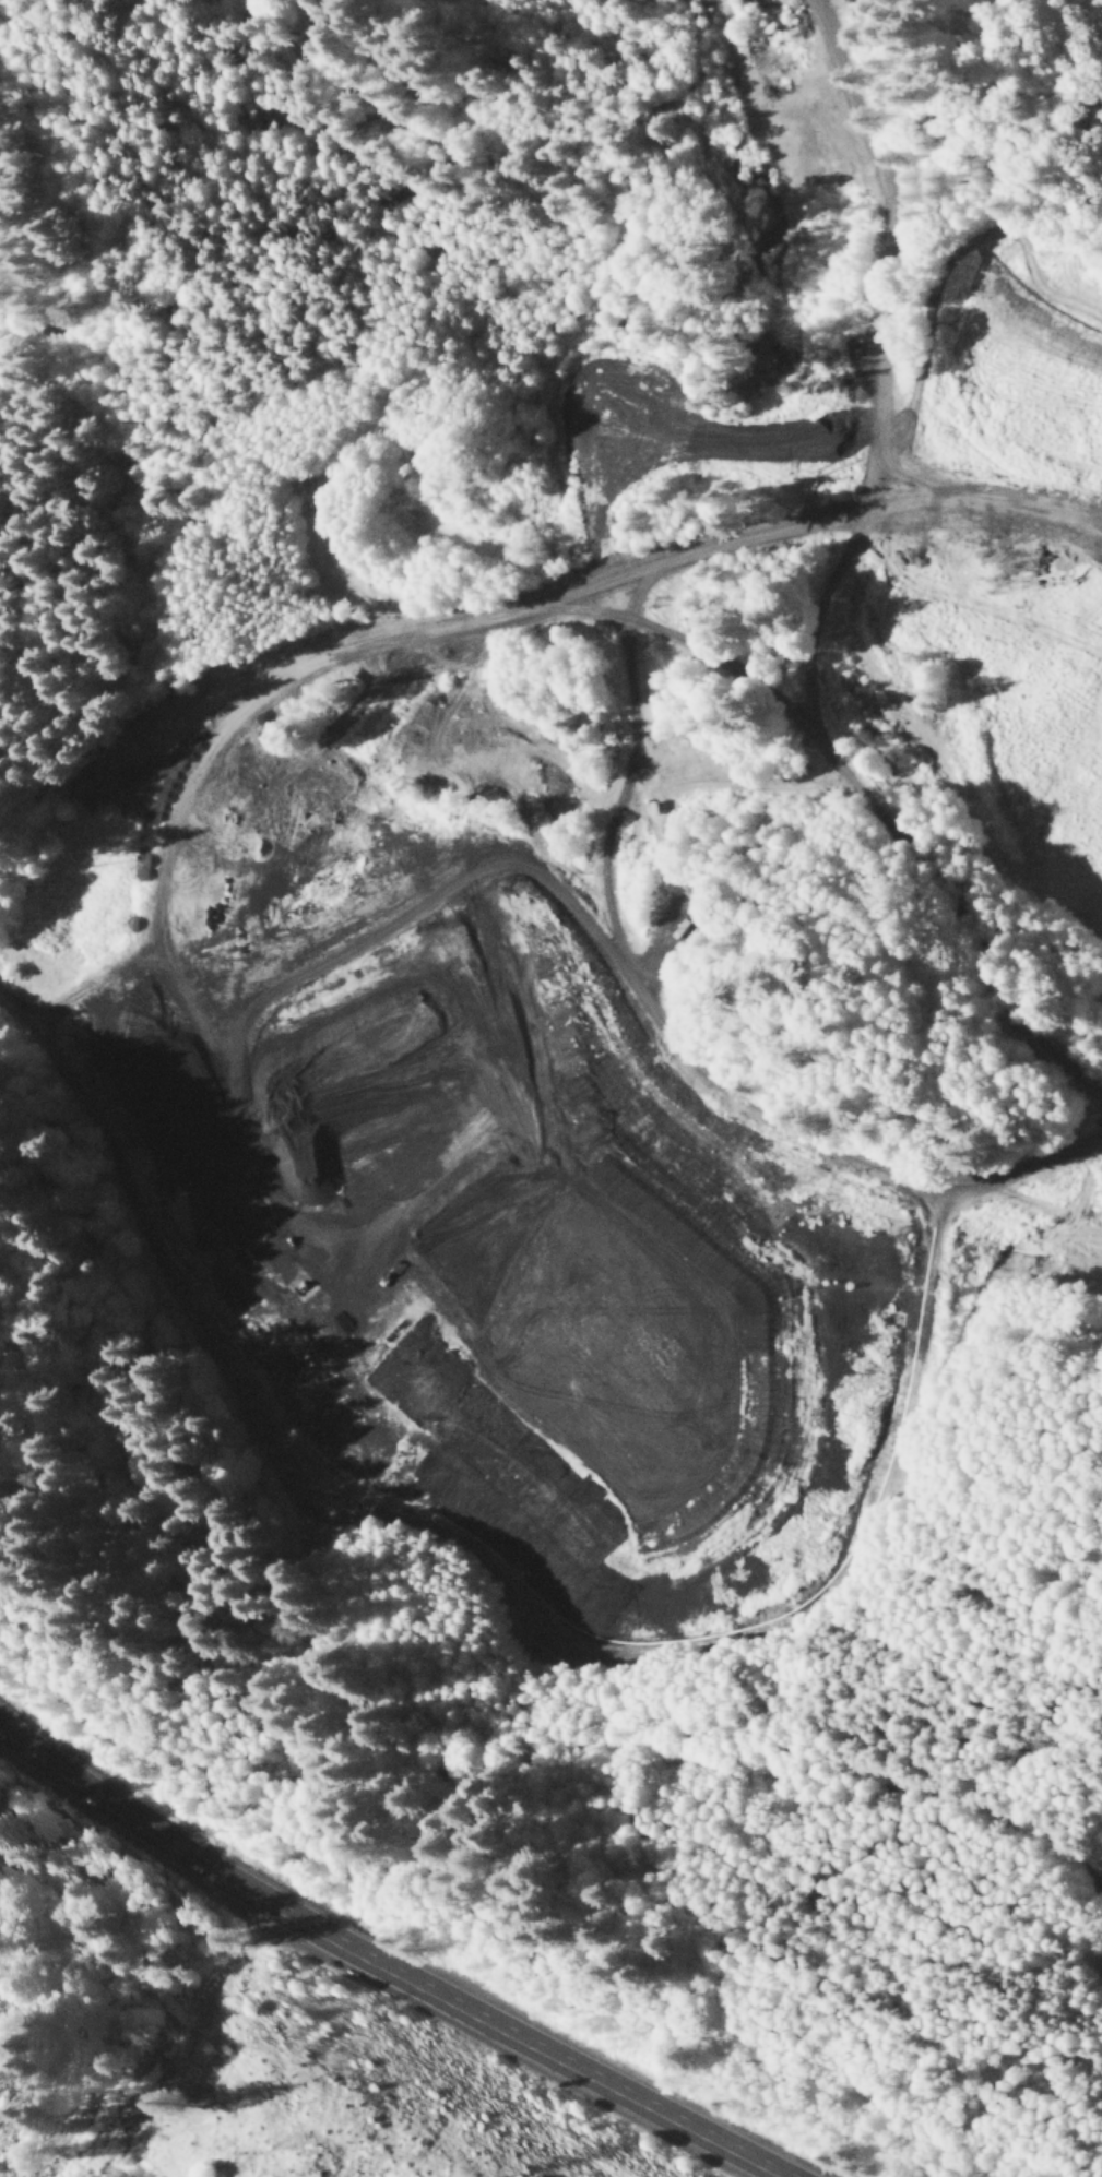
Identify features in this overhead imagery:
road: (398, 1959)

